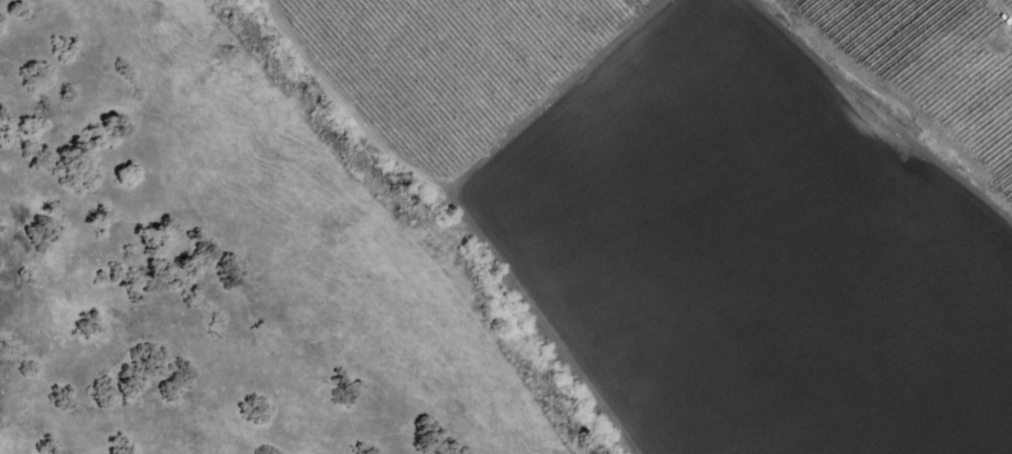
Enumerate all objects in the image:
crop: (881, 27)
crop: (668, 204)
crop: (757, 254)

